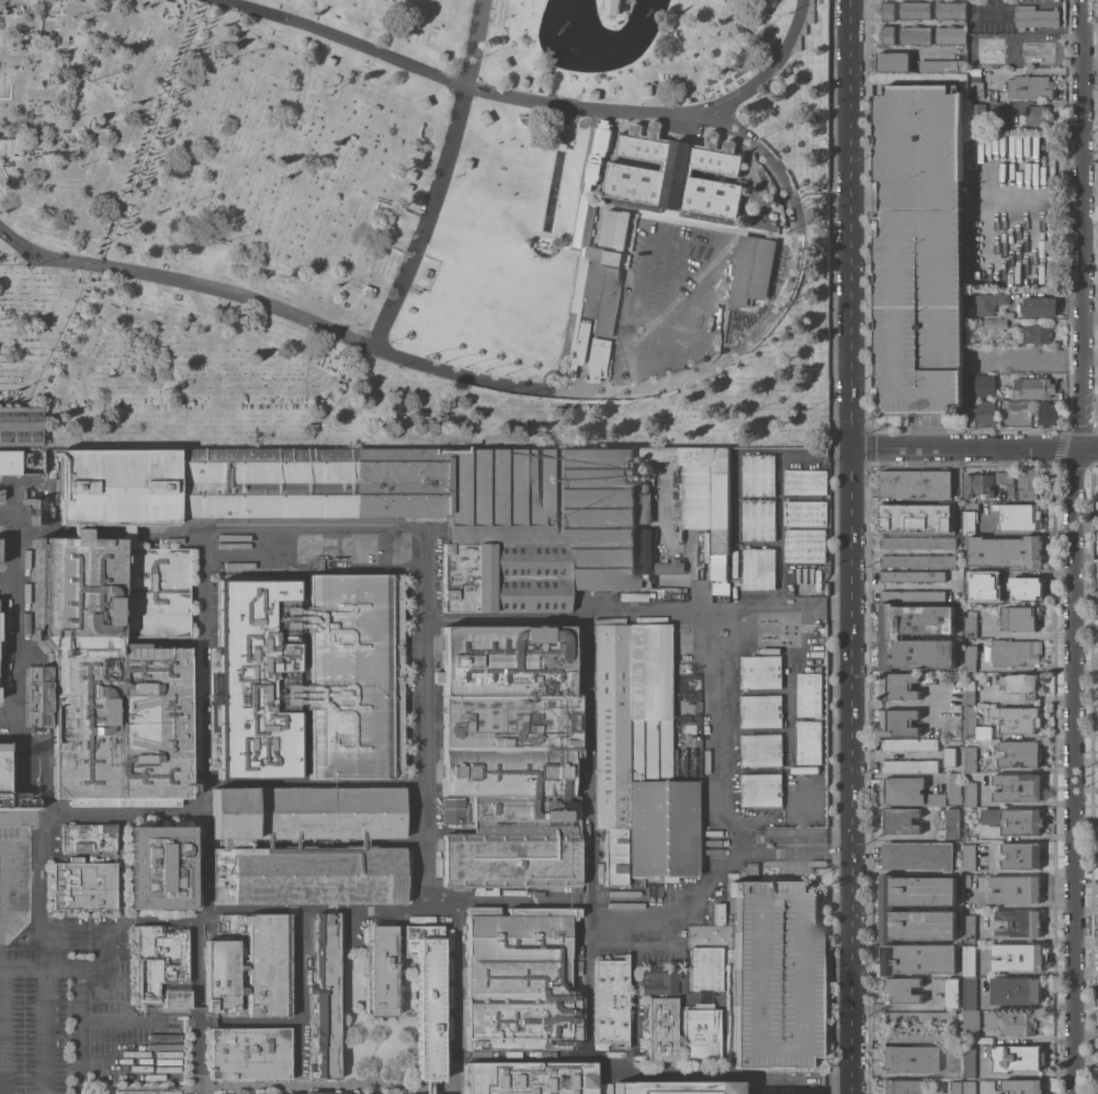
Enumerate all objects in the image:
building: (612, 5)
building: (915, 10)
building: (950, 10)
building: (886, 11)
building: (984, 15)
building: (1034, 18)
building: (886, 34)
building: (914, 34)
building: (951, 35)
road: (342, 37)
building: (986, 39)
road: (474, 43)
building: (305, 49)
building: (1029, 52)
building: (316, 54)
building: (444, 56)
building: (330, 60)
building: (892, 61)
building: (985, 61)
building: (505, 62)
building: (942, 67)
road: (768, 71)
road: (591, 73)
building: (974, 76)
building: (663, 77)
building: (524, 81)
building: (1030, 87)
building: (646, 89)
building: (974, 89)
building: (595, 94)
building: (996, 94)
building: (426, 102)
road: (584, 110)
building: (977, 115)
building: (1035, 115)
building: (486, 117)
building: (655, 128)
road: (151, 132)
building: (417, 153)
building: (469, 163)
building: (412, 174)
building: (676, 179)
building: (409, 186)
road: (428, 219)
road: (694, 224)
road: (1085, 224)
park: (414, 225)
building: (615, 229)
building: (919, 250)
parking lot: (919, 250)
road: (43, 255)
road: (21, 263)
building: (752, 269)
building: (427, 273)
road: (173, 280)
road: (575, 289)
building: (367, 290)
building: (598, 290)
parking lot: (669, 297)
building: (989, 303)
building: (1039, 306)
building: (1008, 315)
building: (977, 322)
building: (995, 322)
building: (1034, 333)
road: (54, 345)
building: (575, 345)
building: (595, 358)
building: (980, 384)
building: (1034, 387)
road: (638, 390)
building: (984, 411)
building: (1044, 412)
building: (20, 426)
road: (969, 447)
road: (1091, 448)
road: (758, 452)
building: (822, 453)
road: (799, 459)
building: (21, 461)
parking lot: (803, 467)
building: (646, 468)
building: (759, 475)
building: (1000, 477)
building: (805, 481)
road: (4, 482)
building: (916, 483)
building: (1022, 483)
building: (978, 485)
building: (1, 493)
road: (736, 500)
building: (47, 506)
road: (5, 511)
building: (805, 512)
building: (1018, 515)
building: (917, 518)
building: (759, 520)
building: (969, 521)
road: (315, 523)
road: (780, 531)
road: (69, 533)
road: (172, 534)
building: (917, 543)
building: (805, 545)
road: (758, 547)
road: (852, 547)
road: (678, 548)
building: (0, 551)
building: (1006, 551)
building: (918, 560)
building: (669, 566)
building: (759, 569)
road: (317, 570)
building: (912, 576)
building: (39, 579)
road: (9, 584)
building: (984, 588)
building: (1028, 588)
building: (715, 592)
building: (913, 595)
building: (633, 596)
road: (769, 609)
building: (1019, 617)
road: (574, 619)
building: (969, 624)
building: (83, 629)
building: (577, 630)
building: (892, 636)
road: (18, 651)
building: (1012, 652)
building: (969, 658)
building: (508, 659)
parking lot: (800, 669)
building: (760, 671)
building: (313, 675)
building: (956, 676)
road: (306, 677)
building: (1019, 684)
building: (898, 686)
building: (967, 692)
building: (810, 694)
building: (42, 695)
building: (0, 697)
road: (894, 704)
building: (760, 710)
road: (9, 719)
building: (1018, 719)
road: (789, 721)
building: (898, 721)
building: (972, 726)
building: (810, 742)
building: (908, 744)
building: (4, 745)
building: (506, 747)
building: (760, 749)
building: (1020, 754)
building: (949, 756)
road: (589, 757)
building: (638, 759)
building: (969, 759)
building: (909, 765)
building: (804, 770)
road: (1075, 770)
road: (768, 771)
building: (3, 772)
building: (683, 772)
road: (801, 772)
road: (317, 784)
building: (1018, 787)
building: (954, 788)
building: (761, 789)
building: (907, 791)
building: (970, 794)
building: (19, 800)
road: (801, 800)
parking lot: (794, 802)
road: (430, 810)
road: (204, 812)
building: (233, 812)
building: (293, 812)
building: (369, 812)
road: (102, 814)
building: (899, 820)
building: (1015, 820)
building: (952, 822)
road: (723, 829)
road: (801, 835)
building: (88, 836)
building: (55, 837)
road: (317, 842)
building: (237, 843)
building: (517, 843)
road: (792, 845)
building: (918, 855)
building: (1021, 855)
building: (969, 856)
building: (162, 867)
building: (312, 875)
parking lot: (14, 881)
road: (8, 884)
building: (83, 884)
building: (1015, 889)
road: (43, 890)
building: (887, 908)
road: (317, 910)
building: (1019, 923)
building: (969, 927)
building: (1019, 956)
building: (917, 958)
road: (2, 959)
building: (969, 960)
road: (683, 962)
road: (59, 965)
road: (20, 966)
building: (250, 966)
building: (161, 967)
building: (380, 970)
building: (776, 973)
parking lot: (776, 973)
building: (520, 977)
road: (588, 977)
building: (902, 990)
building: (1015, 990)
building: (952, 992)
building: (970, 992)
building: (326, 996)
road: (678, 996)
road: (305, 999)
building: (428, 999)
building: (611, 1000)
building: (704, 1006)
parking lot: (33, 1007)
road: (399, 1008)
parking lot: (116, 1011)
road: (636, 1012)
building: (660, 1012)
building: (212, 1017)
building: (919, 1017)
road: (252, 1021)
park: (380, 1021)
building: (1009, 1023)
building: (159, 1025)
building: (971, 1025)
road: (4, 1029)
road: (42, 1029)
road: (79, 1029)
building: (919, 1036)
building: (249, 1052)
building: (907, 1058)
building: (1022, 1058)
building: (969, 1060)
road: (630, 1073)
building: (531, 1078)
building: (899, 1086)
building: (1022, 1086)
building: (603, 1087)
building: (676, 1087)
building: (954, 1087)
building: (969, 1087)
road: (327, 1089)
road: (457, 1092)
building: (337, 1093)

